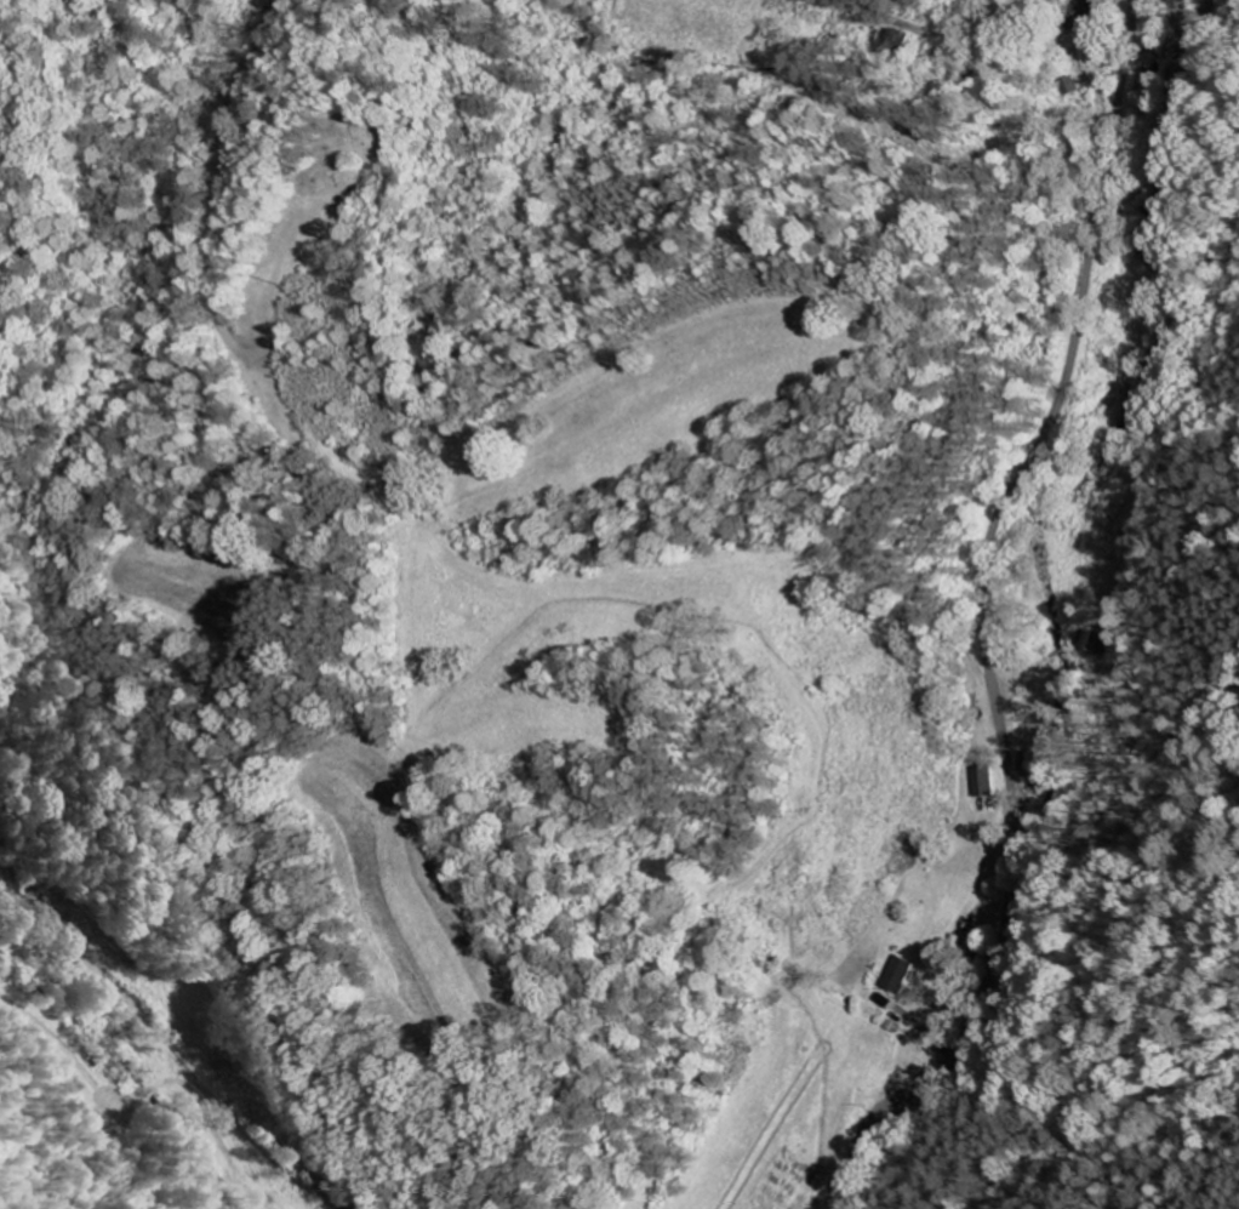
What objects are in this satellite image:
road: (913, 29)
road: (981, 628)
building: (978, 781)
building: (893, 975)
road: (158, 1010)

